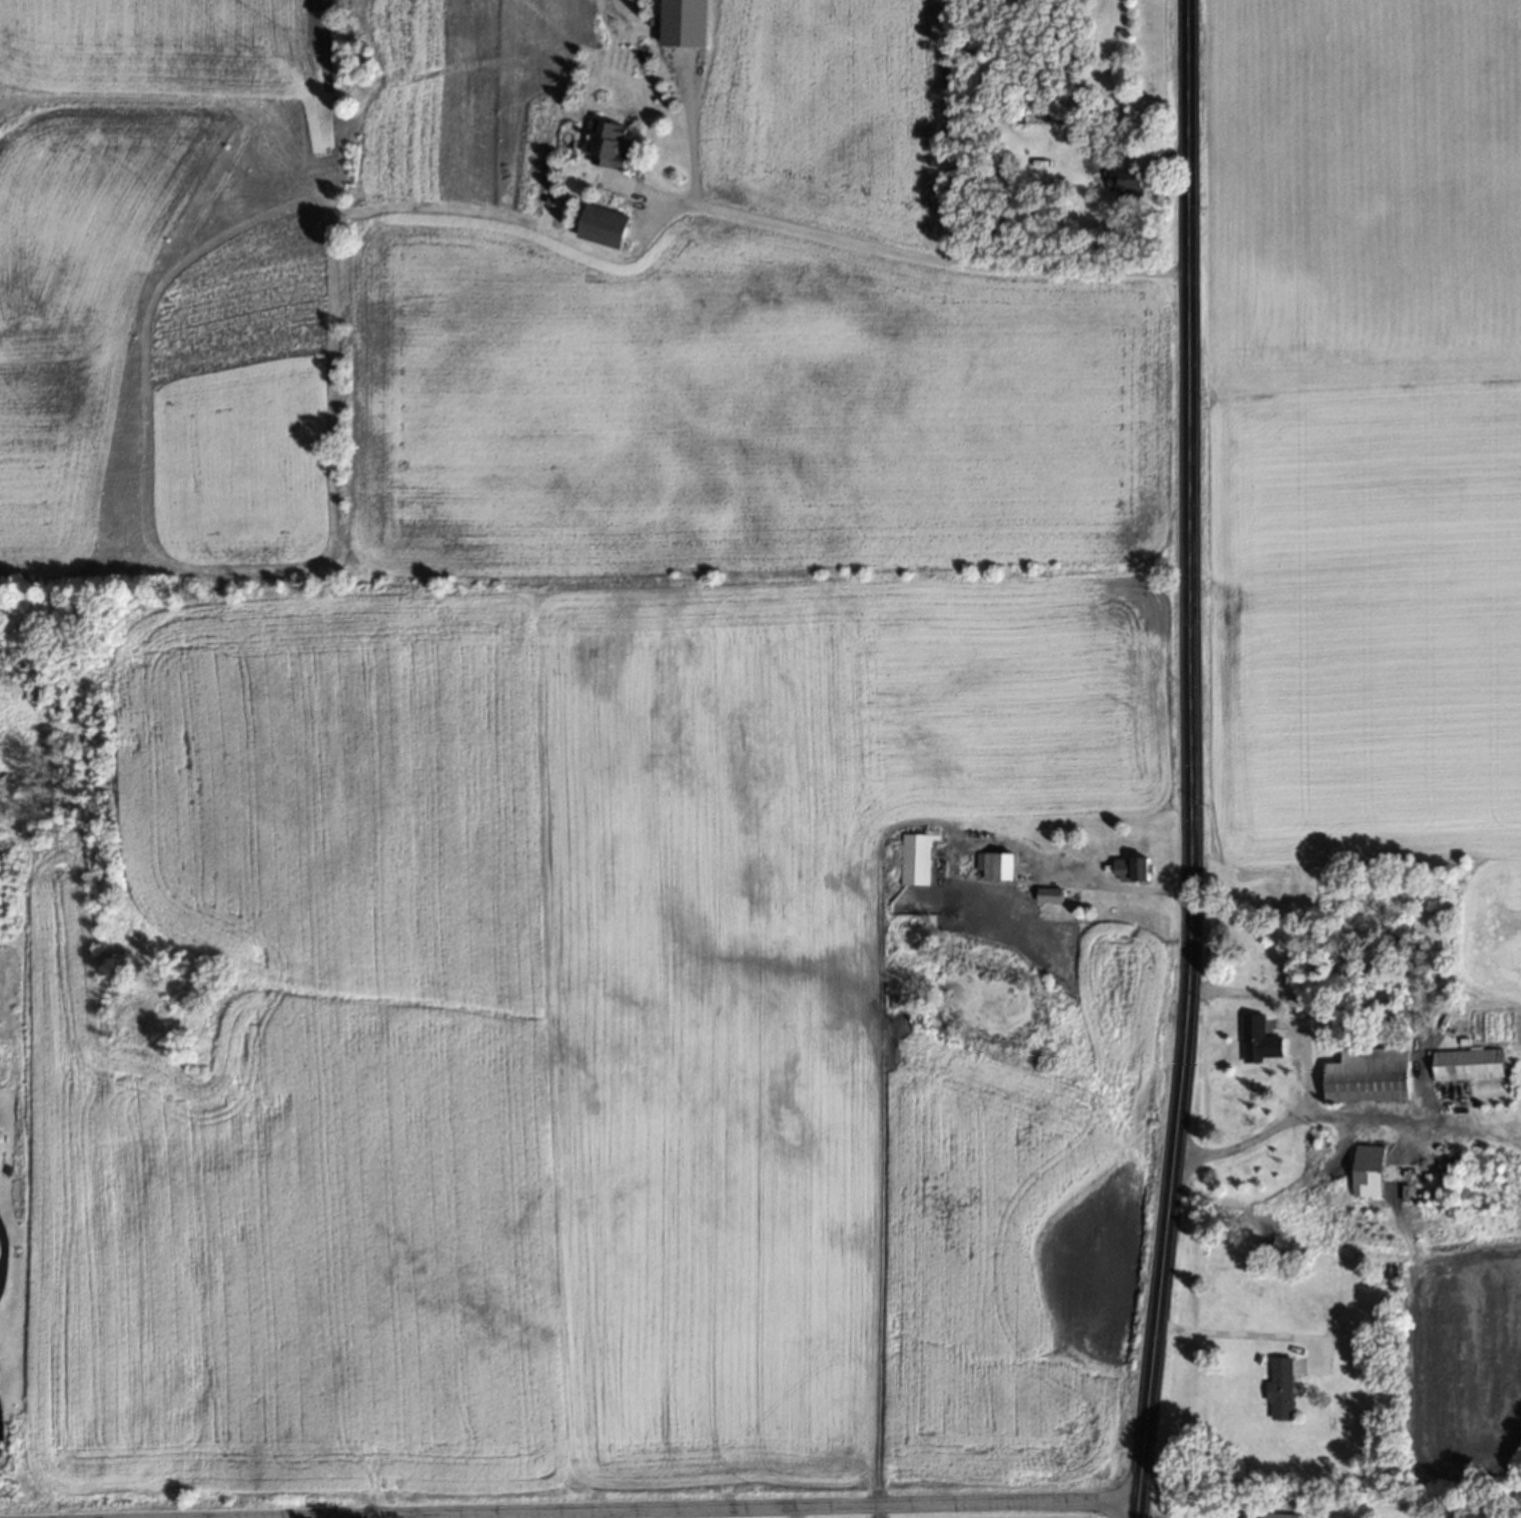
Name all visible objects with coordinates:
building: (606, 144)
road: (1136, 155)
building: (1127, 184)
building: (604, 226)
road: (639, 237)
road: (890, 250)
road: (1185, 760)
building: (918, 857)
building: (997, 865)
building: (1132, 869)
road: (1128, 890)
building: (1253, 1044)
building: (1469, 1064)
building: (1369, 1075)
road: (1251, 1139)
building: (1369, 1171)
building: (1310, 1180)
road: (1249, 1335)
building: (1280, 1388)
park: (1336, 1501)
road: (742, 1509)
building: (1281, 1510)
road: (1142, 1516)
building: (1335, 1516)

